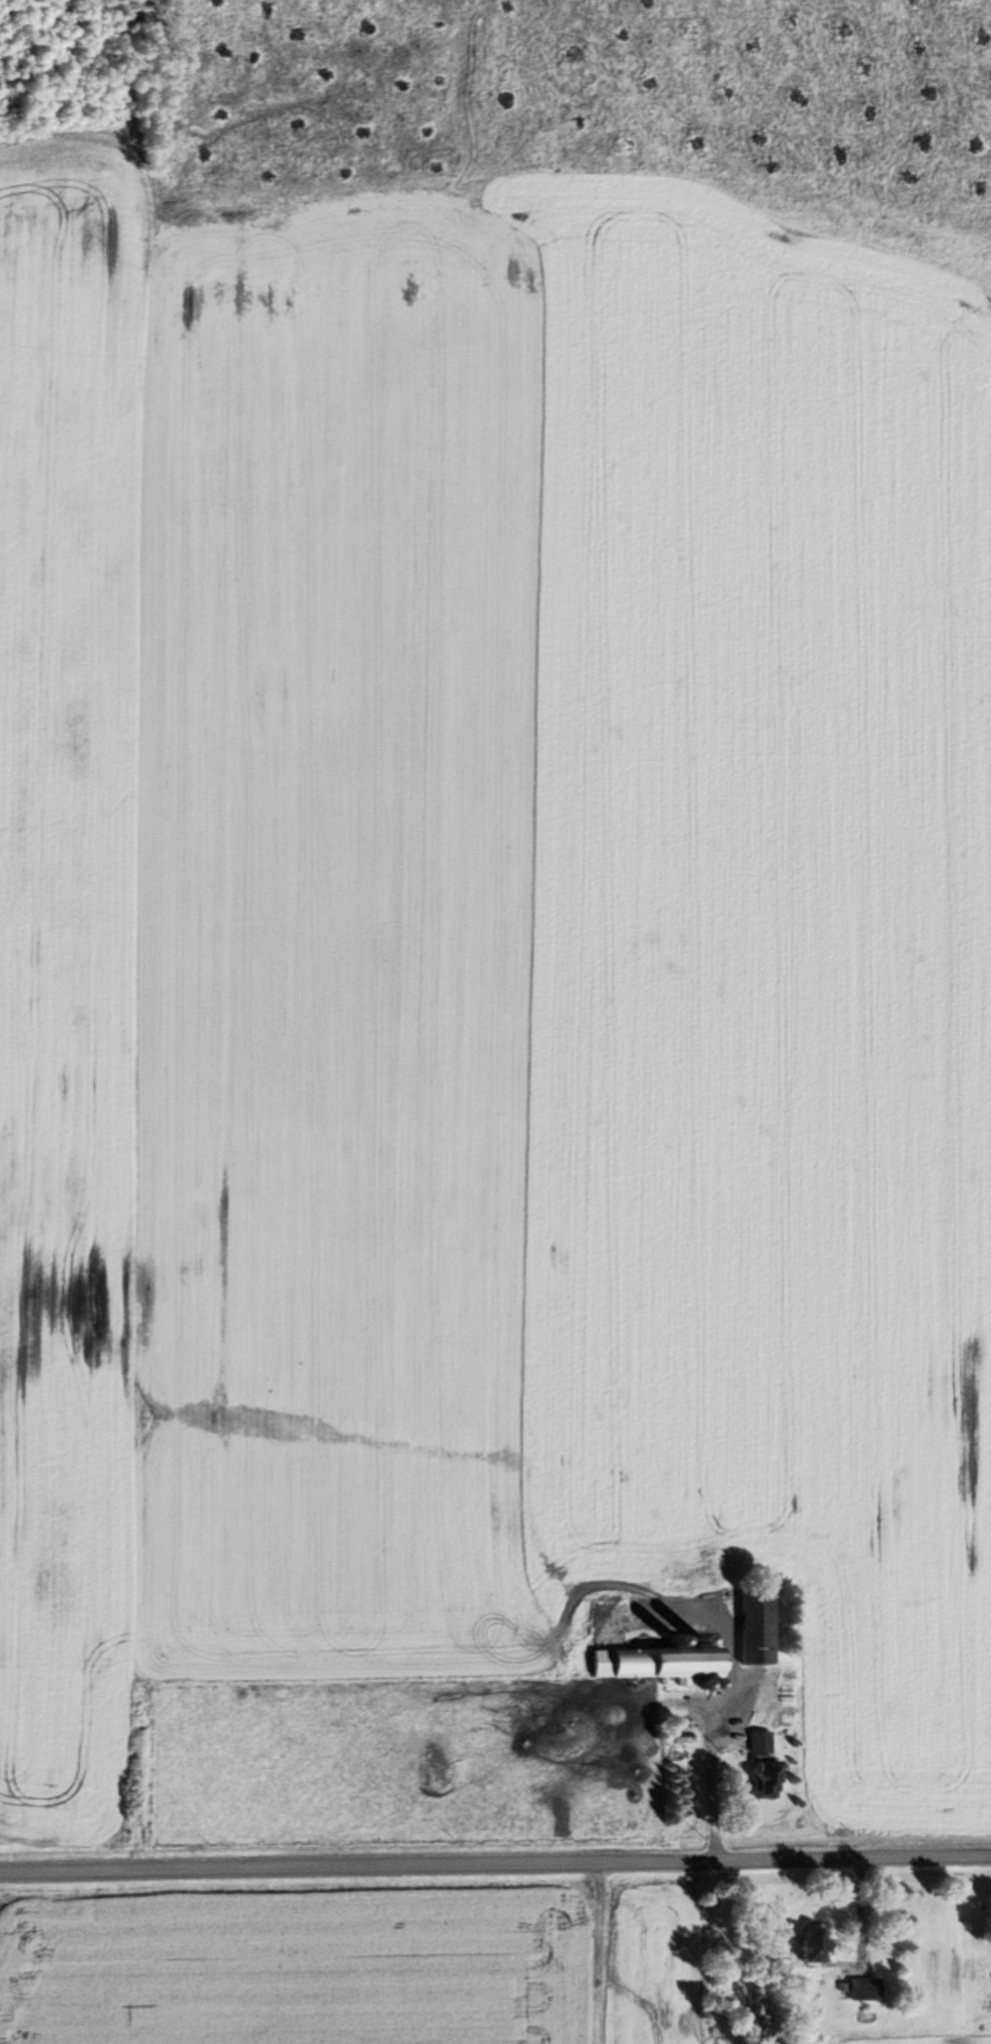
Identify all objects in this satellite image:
building: (756, 1626)
building: (655, 1661)
building: (760, 1740)
building: (766, 1777)
road: (495, 1863)
building: (863, 1988)

